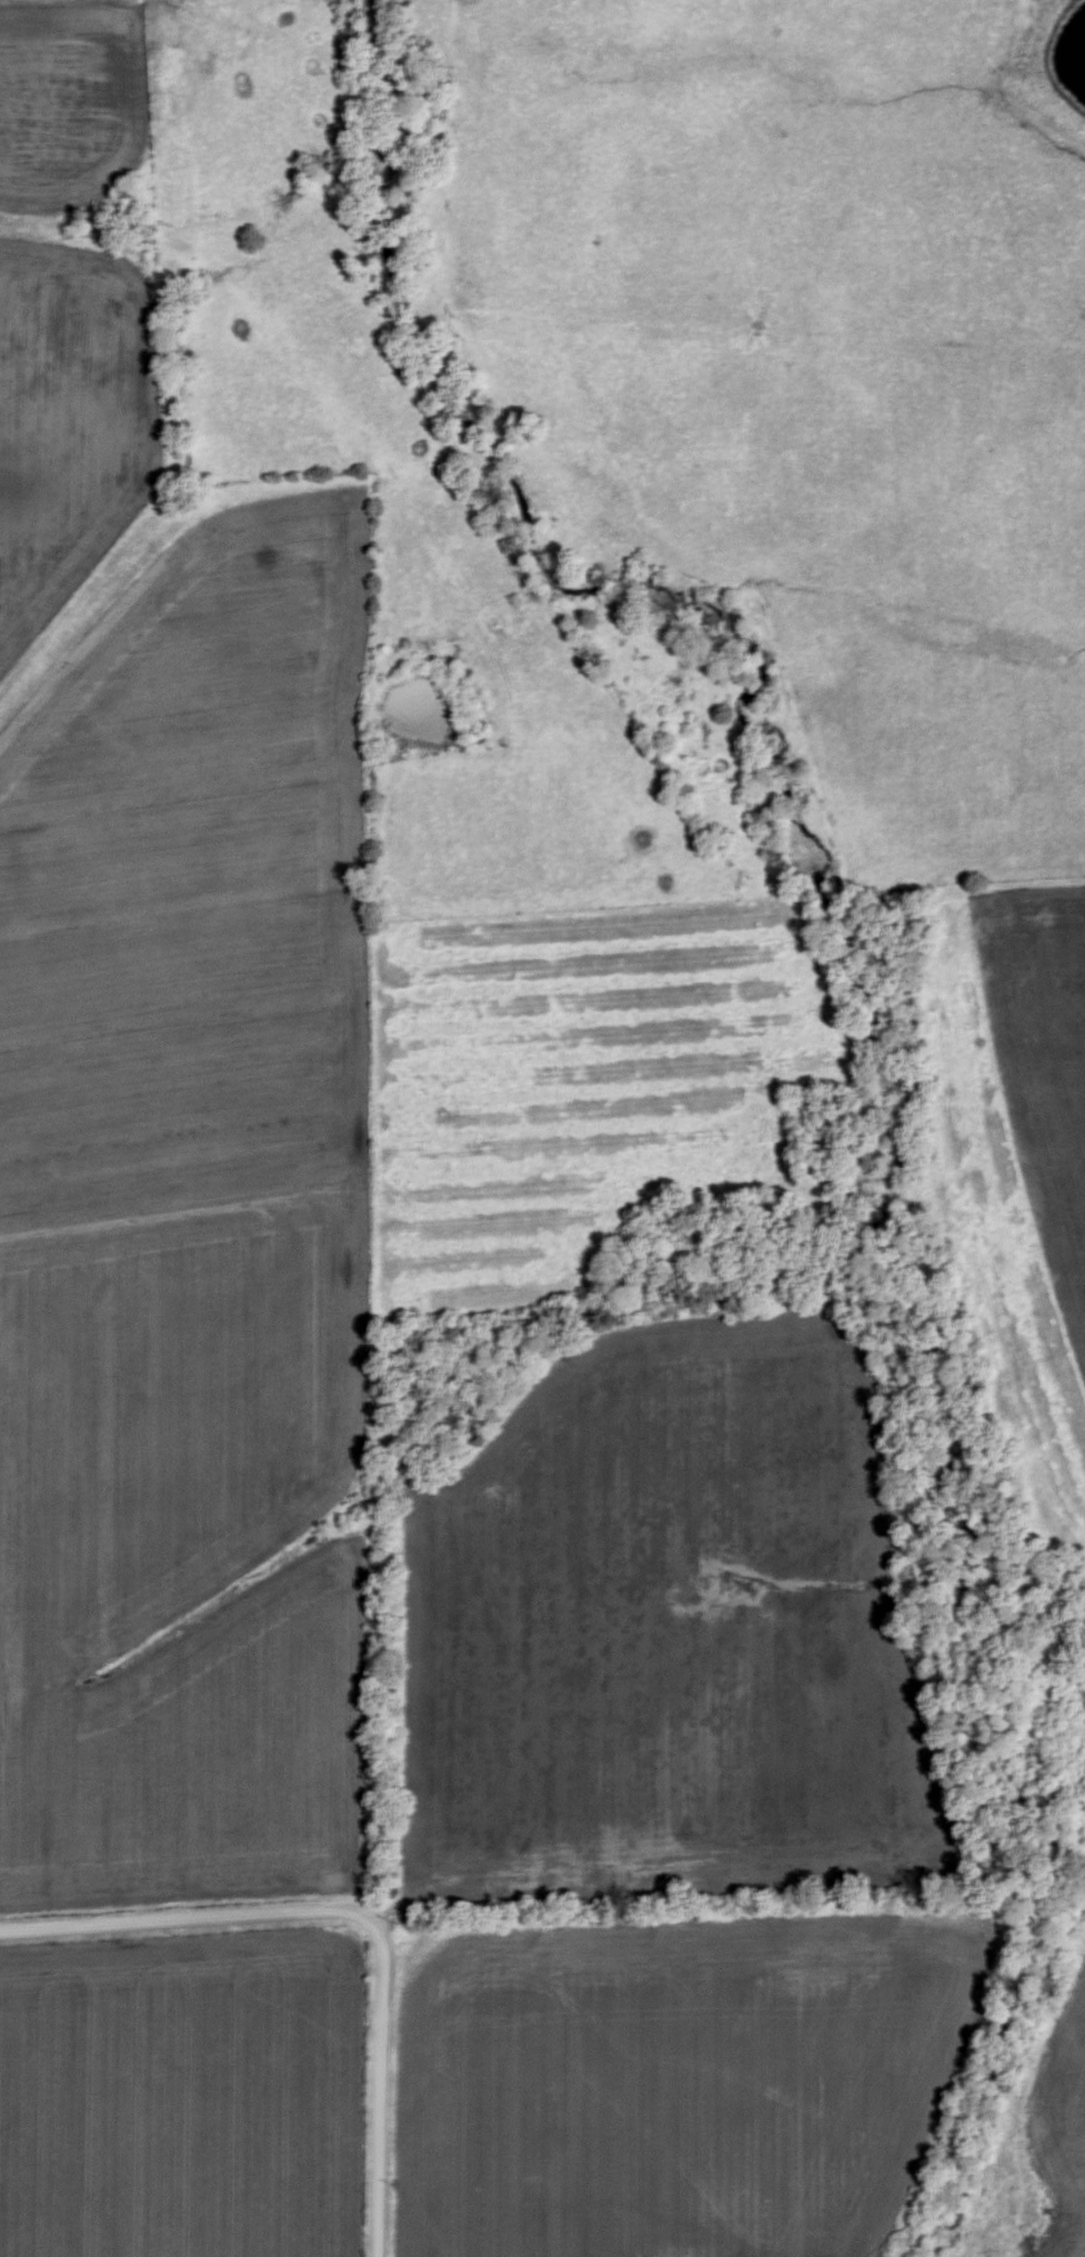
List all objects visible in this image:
road: (355, 1915)

